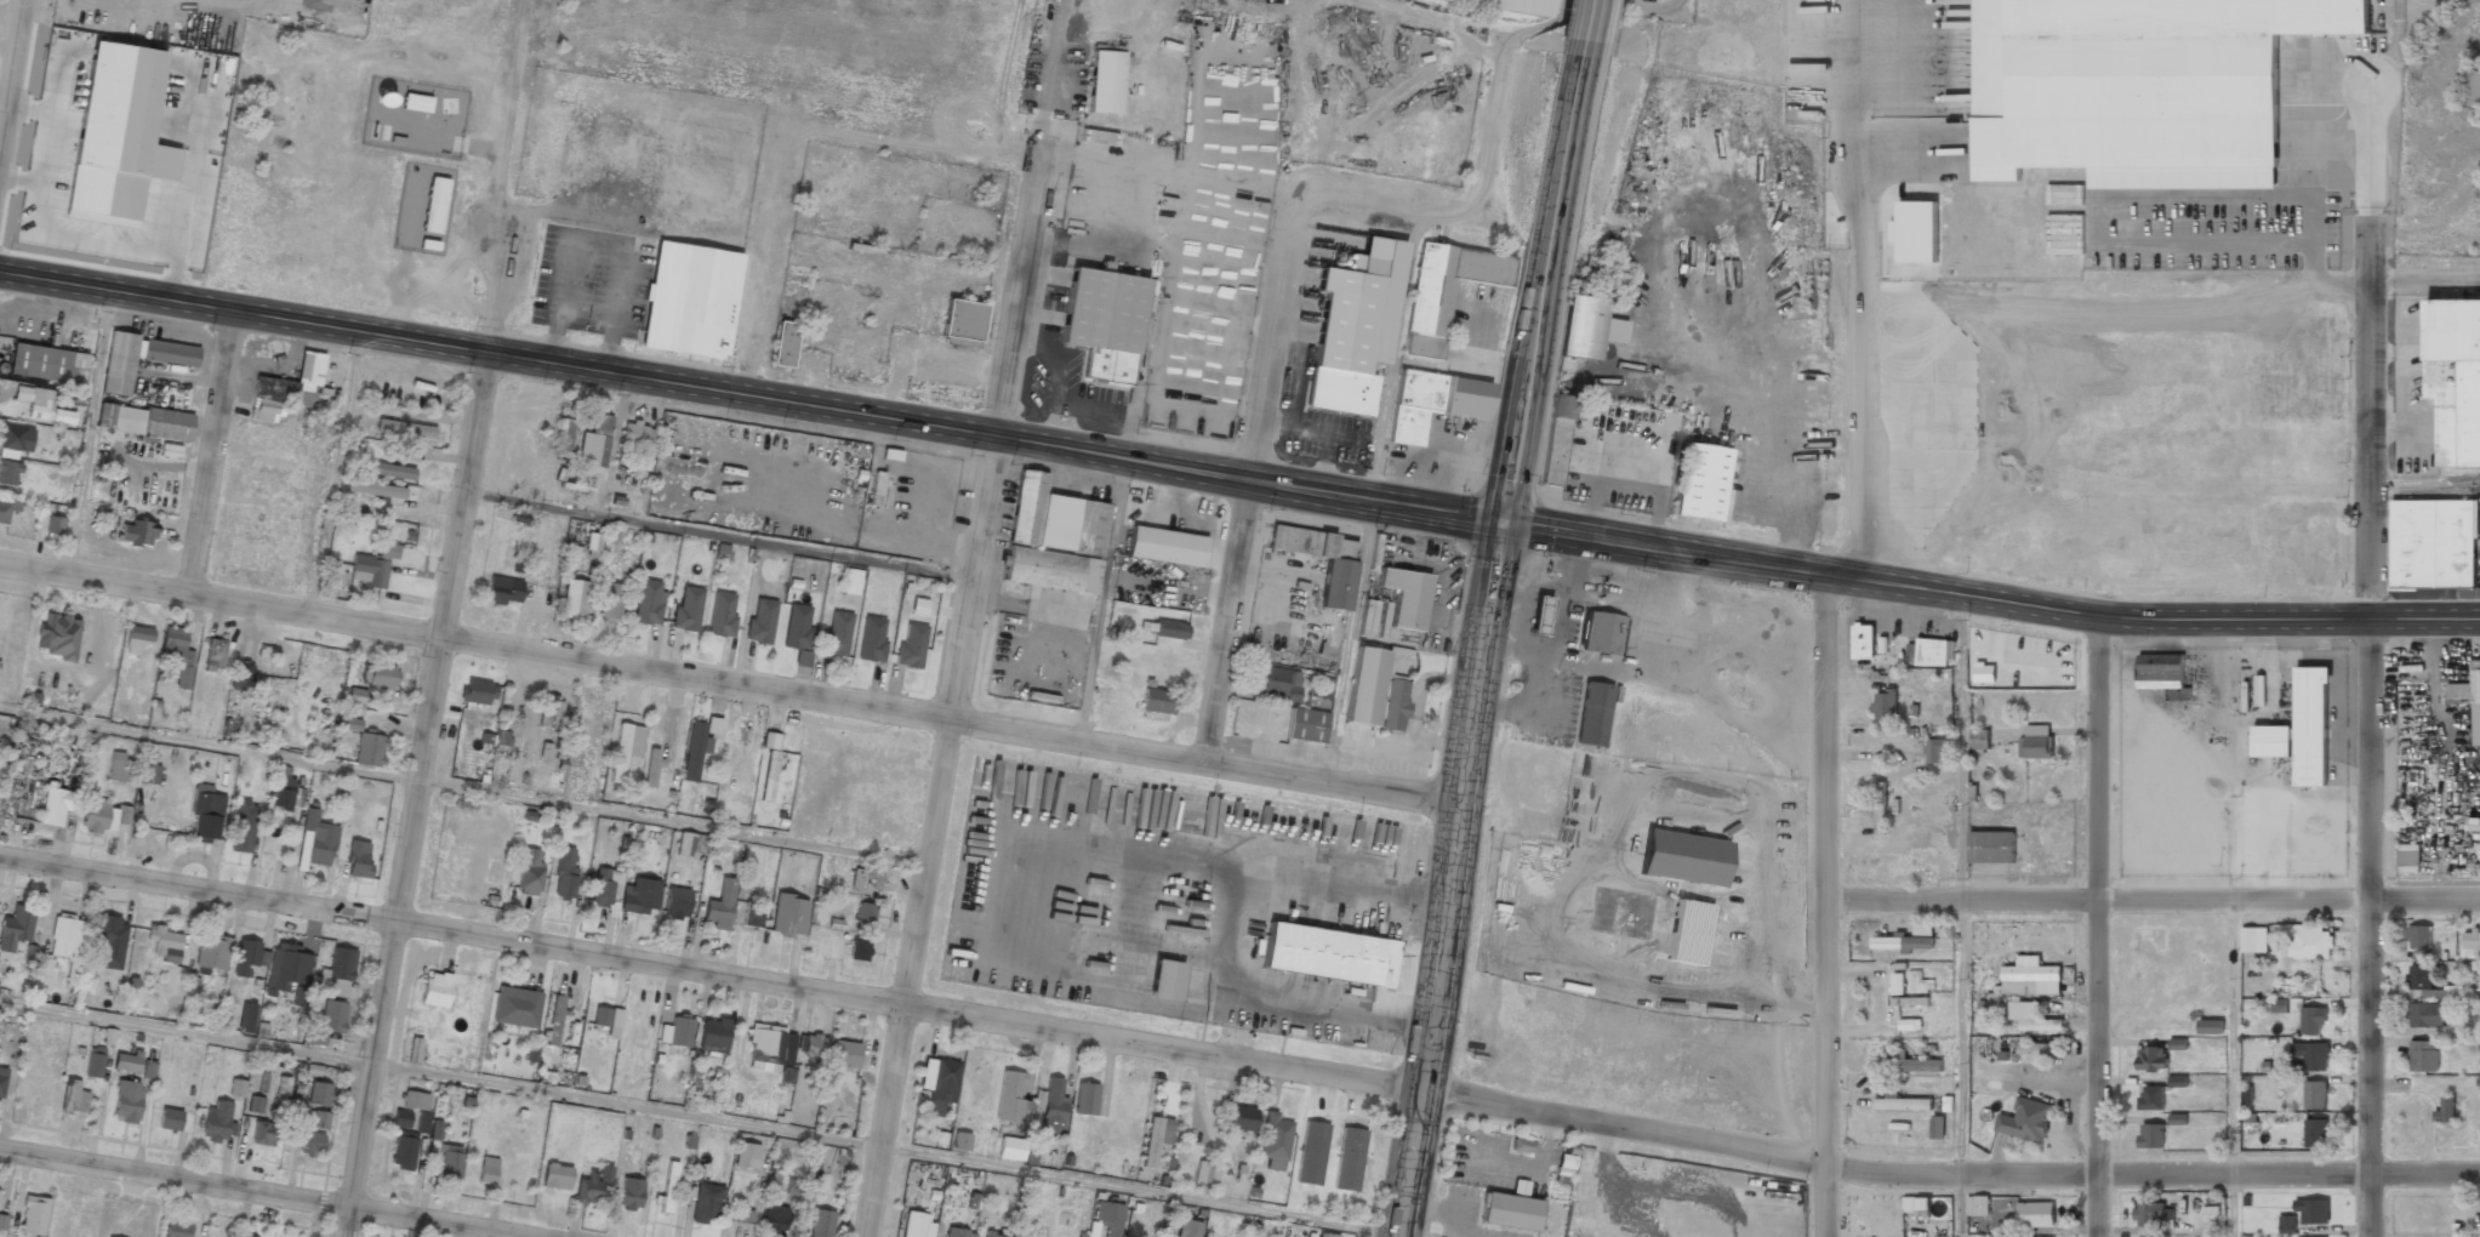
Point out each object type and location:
building: (1806, 0)
building: (1534, 2)
road: (1581, 25)
building: (2136, 80)
building: (1104, 81)
road: (13, 87)
building: (2474, 91)
building: (2065, 194)
building: (434, 205)
building: (1915, 232)
road: (760, 261)
road: (1540, 286)
building: (1444, 291)
building: (689, 300)
building: (962, 320)
building: (1102, 323)
building: (1353, 327)
building: (1581, 327)
building: (783, 343)
road: (2370, 350)
building: (139, 359)
building: (47, 364)
building: (2455, 377)
building: (285, 389)
road: (751, 397)
building: (1432, 403)
building: (42, 405)
road: (1868, 416)
building: (143, 421)
building: (405, 428)
building: (564, 433)
road: (89, 434)
building: (638, 435)
building: (1553, 440)
building: (594, 444)
road: (212, 452)
building: (388, 471)
building: (8, 473)
road: (336, 473)
building: (1699, 483)
railway: (2464, 485)
road: (1247, 488)
building: (375, 489)
building: (6, 509)
traffic signals: (1503, 523)
building: (55, 525)
building: (137, 534)
road: (722, 535)
building: (1053, 538)
building: (592, 545)
building: (2433, 545)
building: (1165, 547)
building: (388, 551)
building: (369, 570)
building: (335, 575)
building: (851, 581)
building: (1335, 582)
road: (1934, 588)
building: (504, 591)
building: (1404, 597)
building: (574, 599)
road: (1101, 600)
building: (610, 602)
building: (649, 603)
building: (918, 606)
building: (688, 610)
building: (722, 614)
building: (1539, 615)
road: (2424, 616)
road: (450, 617)
building: (760, 622)
building: (797, 627)
building: (1170, 629)
building: (837, 633)
building: (1600, 633)
building: (58, 635)
building: (871, 638)
building: (137, 639)
road: (1349, 639)
building: (1864, 642)
building: (911, 646)
building: (215, 652)
building: (1934, 652)
building: (177, 655)
building: (803, 659)
building: (1985, 673)
building: (2163, 673)
building: (378, 675)
building: (241, 677)
building: (1275, 683)
road: (729, 684)
building: (1363, 685)
building: (477, 691)
building: (2455, 694)
building: (355, 695)
building: (1316, 699)
building: (1156, 701)
road: (956, 702)
building: (2475, 702)
building: (1393, 705)
building: (1885, 706)
building: (551, 712)
building: (1592, 714)
building: (350, 724)
building: (1304, 725)
building: (2310, 726)
building: (1979, 740)
building: (770, 741)
building: (2036, 741)
building: (2271, 741)
road: (1961, 747)
building: (625, 748)
building: (369, 749)
building: (694, 751)
building: (1938, 751)
building: (651, 766)
building: (119, 768)
building: (150, 774)
building: (768, 776)
road: (463, 788)
building: (284, 793)
building: (1880, 809)
building: (206, 813)
building: (104, 815)
building: (244, 827)
building: (2473, 828)
building: (315, 839)
building: (690, 844)
building: (1990, 846)
building: (2407, 856)
building: (358, 860)
building: (529, 872)
building: (565, 874)
building: (865, 879)
road: (1450, 879)
building: (606, 887)
building: (640, 896)
road: (2153, 901)
building: (675, 902)
road: (1825, 905)
building: (720, 906)
building: (752, 913)
building: (788, 916)
building: (863, 917)
road: (2098, 925)
road: (2370, 927)
building: (15, 928)
building: (2418, 937)
building: (109, 940)
building: (2253, 940)
building: (164, 942)
building: (1902, 942)
building: (2311, 942)
building: (2472, 942)
building: (857, 950)
building: (213, 952)
building: (1328, 954)
building: (249, 957)
building: (286, 968)
building: (337, 973)
building: (44, 974)
building: (2419, 977)
building: (2031, 980)
building: (1164, 981)
building: (1898, 984)
building: (435, 990)
building: (515, 1007)
building: (2425, 1015)
building: (246, 1017)
building: (2031, 1017)
building: (555, 1020)
building: (606, 1020)
building: (2313, 1020)
building: (327, 1022)
building: (1909, 1022)
building: (2211, 1026)
building: (675, 1031)
building: (713, 1036)
road: (2233, 1037)
road: (1961, 1038)
building: (2037, 1048)
building: (811, 1050)
building: (771, 1051)
building: (844, 1054)
building: (2419, 1055)
building: (2311, 1056)
building: (2153, 1059)
road: (1236, 1060)
building: (95, 1061)
building: (126, 1061)
building: (1915, 1064)
building: (148, 1068)
building: (2178, 1081)
building: (1, 1082)
building: (937, 1083)
building: (236, 1088)
building: (318, 1094)
building: (2315, 1094)
building: (73, 1096)
building: (2150, 1098)
building: (1084, 1099)
building: (415, 1100)
building: (1010, 1100)
building: (127, 1101)
building: (1899, 1101)
building: (255, 1105)
building: (1944, 1105)
building: (1051, 1107)
building: (2445, 1110)
road: (699, 1117)
building: (400, 1118)
building: (1241, 1118)
building: (170, 1119)
building: (319, 1119)
building: (2025, 1121)
building: (218, 1122)
building: (422, 1122)
building: (1937, 1128)
building: (2315, 1131)
building: (263, 1133)
building: (2150, 1136)
building: (1156, 1139)
building: (960, 1141)
building: (1273, 1141)
building: (310, 1144)
building: (1521, 1146)
building: (1010, 1148)
building: (403, 1152)
building: (746, 1156)
building: (450, 1163)
building: (488, 1170)
building: (1205, 1172)
building: (555, 1176)
building: (451, 1186)
building: (800, 1186)
building: (594, 1187)
building: (667, 1188)
road: (274, 1190)
building: (631, 1193)
building: (706, 1203)
building: (1916, 1205)
road: (1961, 1205)
building: (1978, 1205)
road: (2233, 1205)
building: (2313, 1210)
building: (1509, 1213)
building: (34, 1215)
building: (742, 1215)
building: (2035, 1215)
building: (2153, 1215)
building: (1108, 1218)
building: (774, 1220)
building: (2, 1221)
building: (821, 1224)
building: (2287, 1224)
building: (917, 1225)
building: (176, 1229)
building: (1091, 1229)
building: (1187, 1229)
building: (956, 1232)
building: (992, 1235)
building: (1327, 1235)
building: (2005, 1236)

